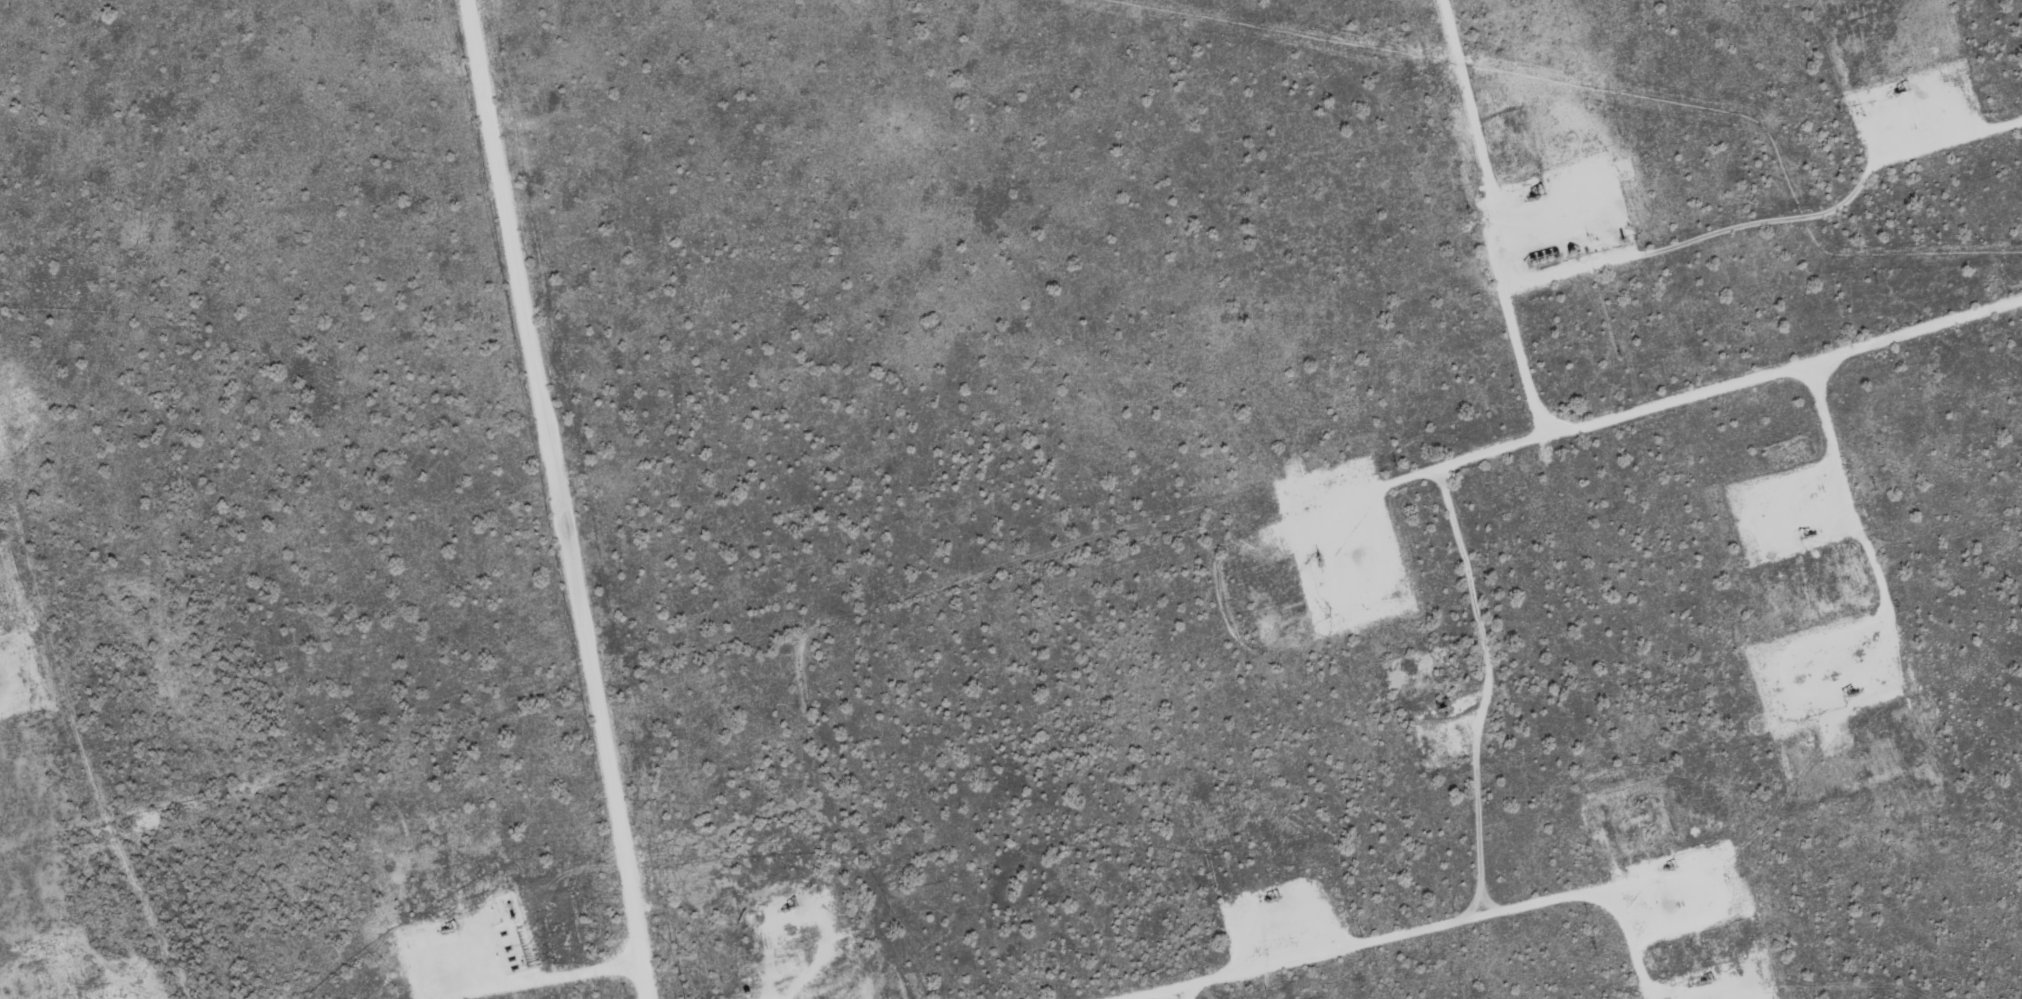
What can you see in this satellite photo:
road: (559, 499)

